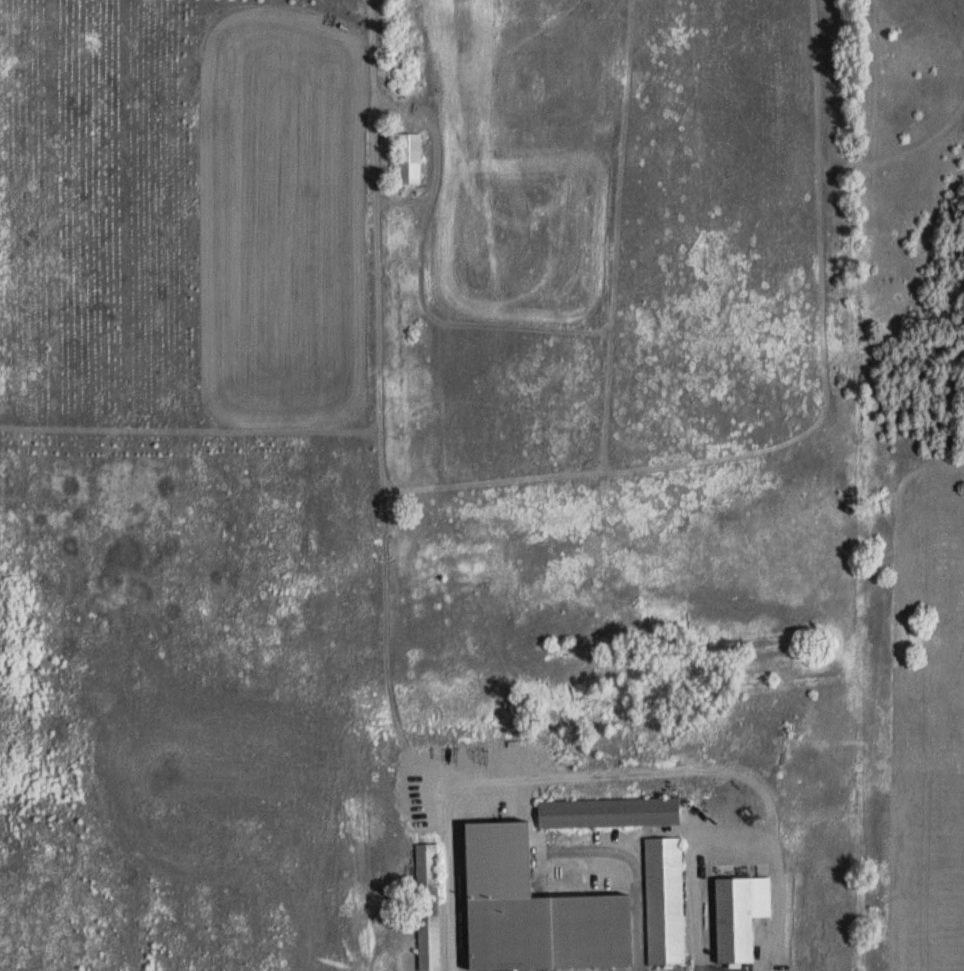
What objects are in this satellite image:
building: (608, 812)
building: (499, 866)
building: (664, 900)
building: (427, 907)
building: (739, 915)
building: (549, 931)

